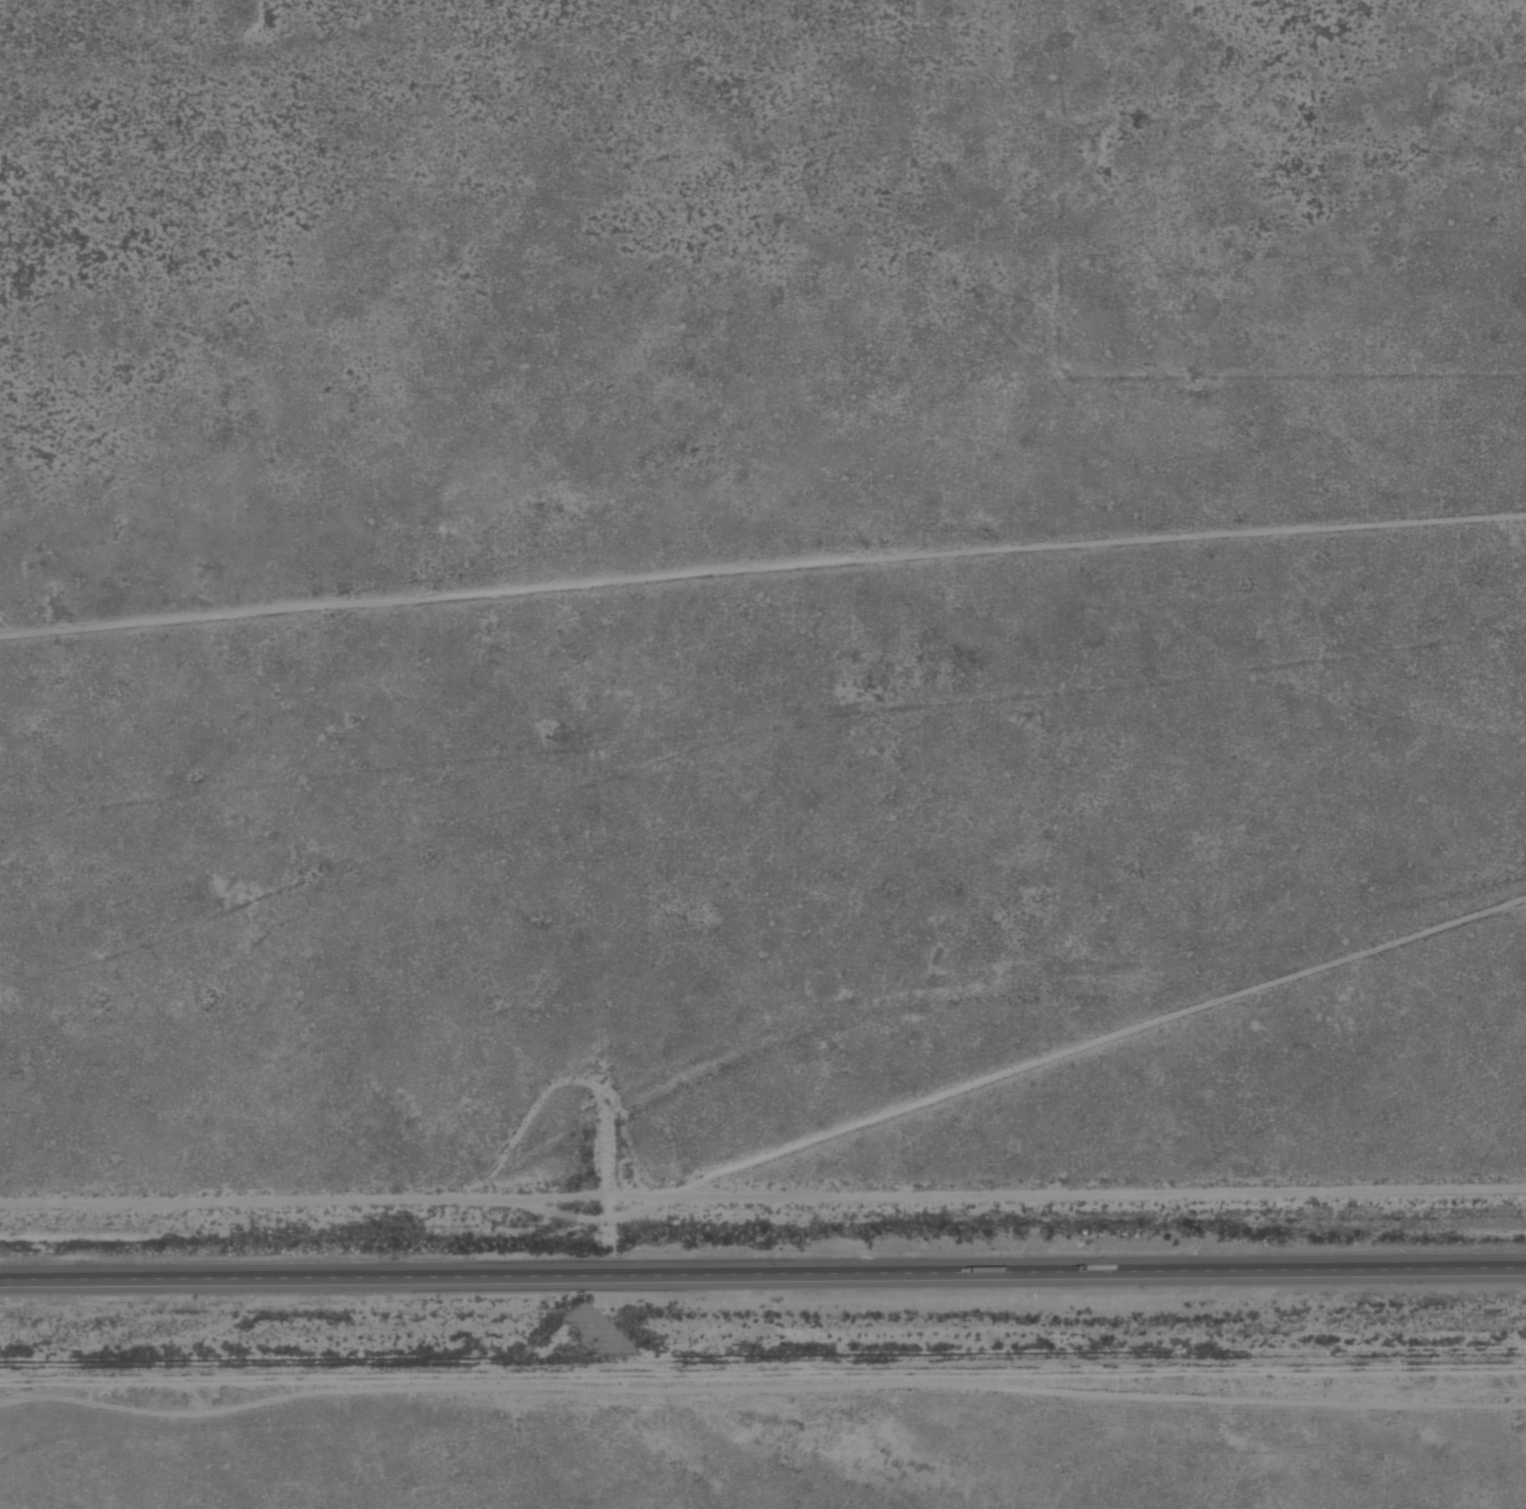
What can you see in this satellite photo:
road: (763, 1273)
road: (14, 1401)

